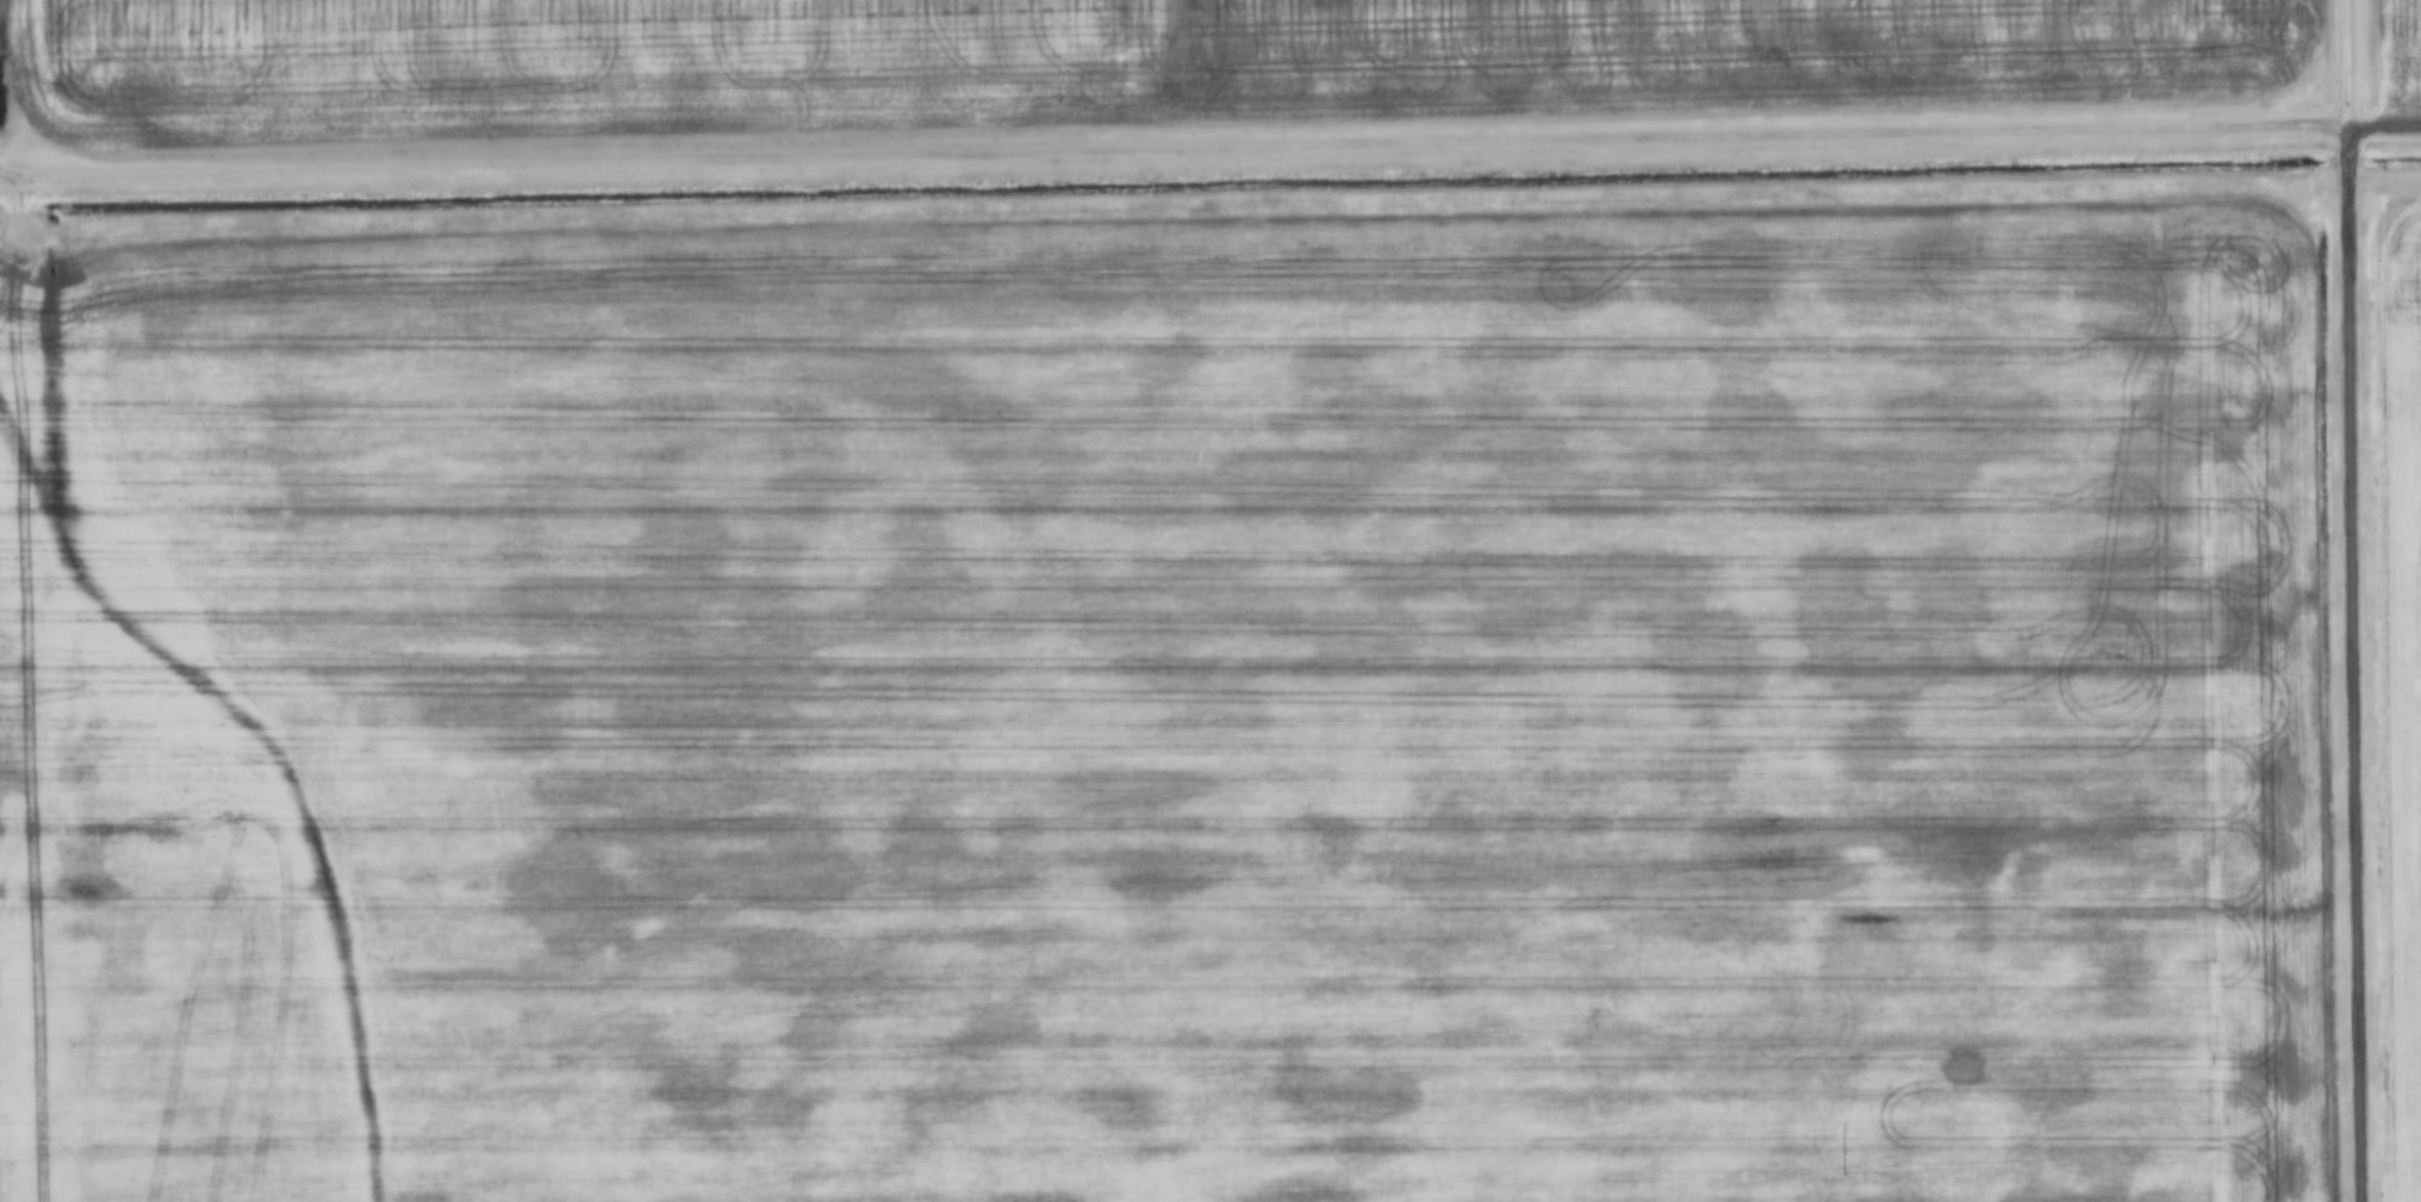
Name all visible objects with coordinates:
road: (2384, 129)
road: (1174, 152)
road: (2353, 600)

